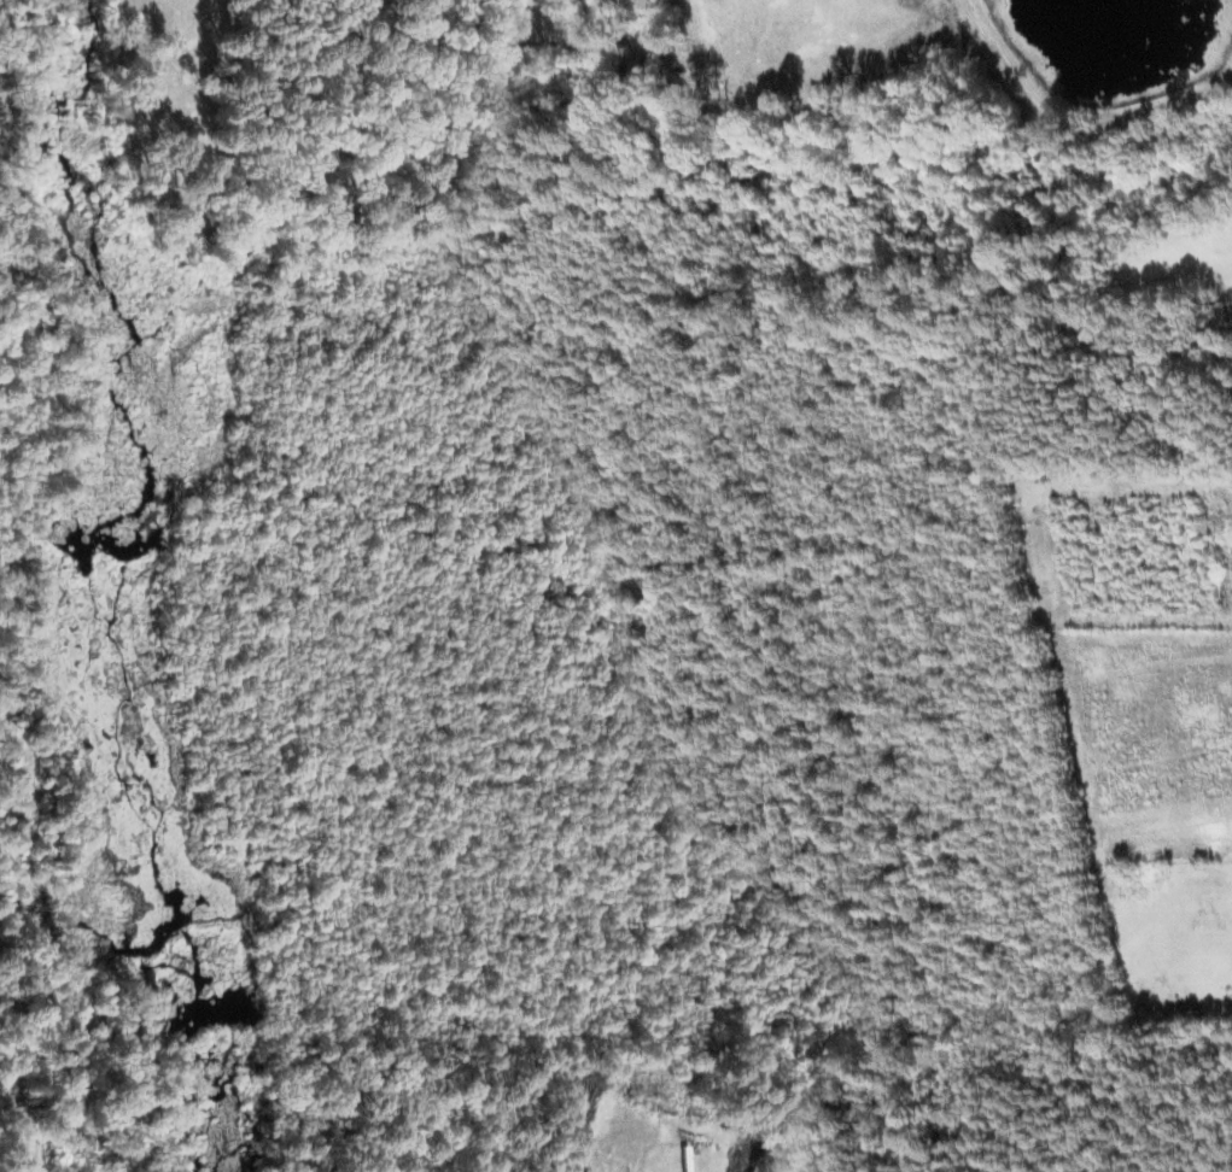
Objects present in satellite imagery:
building: (33, 1158)

